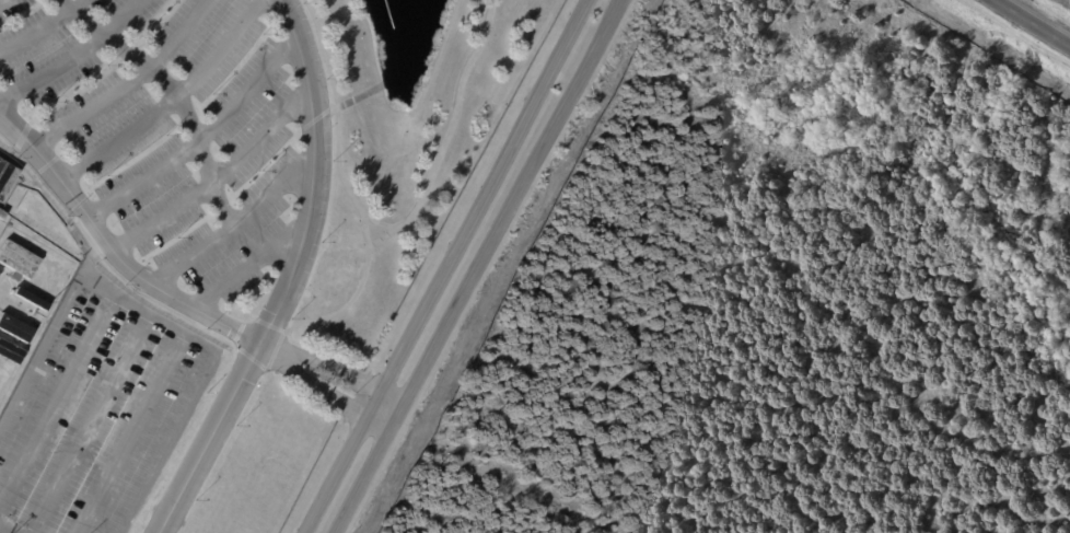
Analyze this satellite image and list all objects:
road: (1032, 23)
road: (127, 83)
road: (194, 135)
road: (316, 157)
building: (7, 177)
road: (272, 193)
road: (75, 198)
building: (32, 234)
building: (18, 262)
road: (463, 266)
building: (31, 299)
road: (221, 322)
building: (14, 328)
building: (10, 352)
road: (291, 361)
road: (77, 364)
building: (3, 381)
road: (198, 392)
road: (218, 422)
road: (3, 531)

